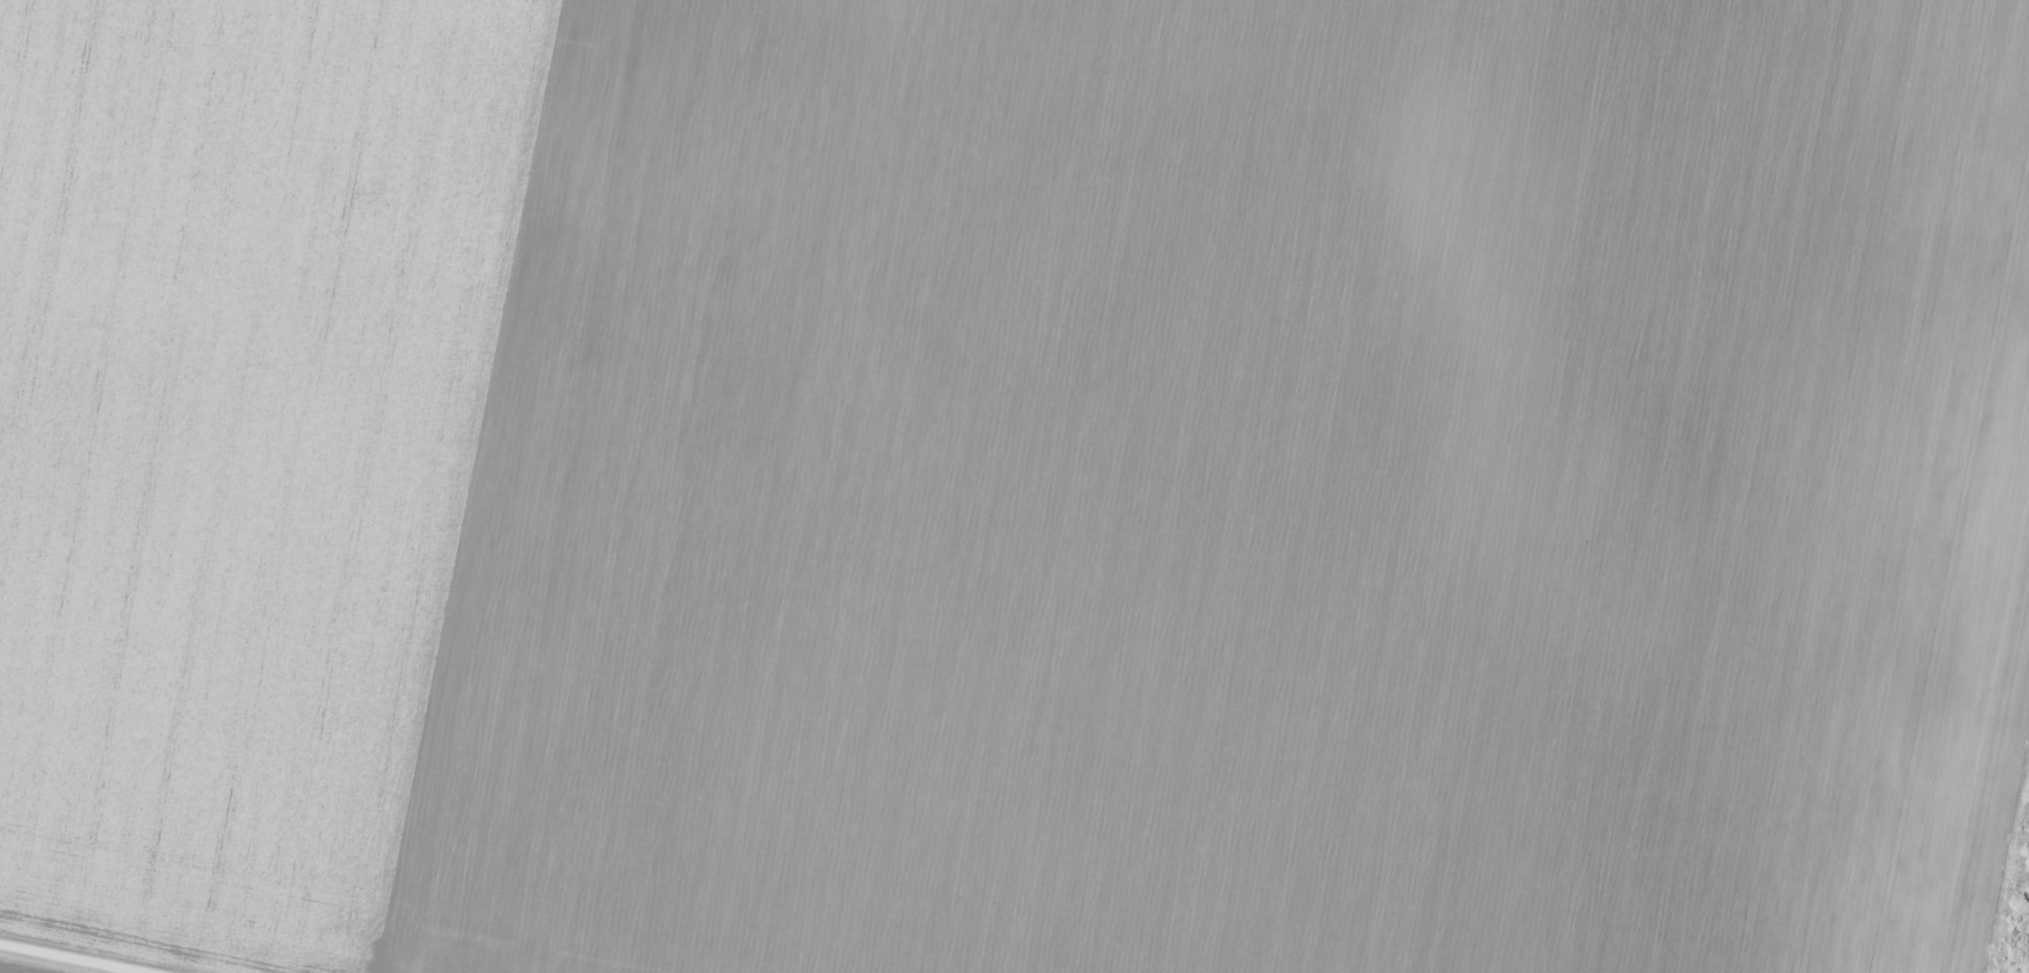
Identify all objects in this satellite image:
road: (57, 961)

